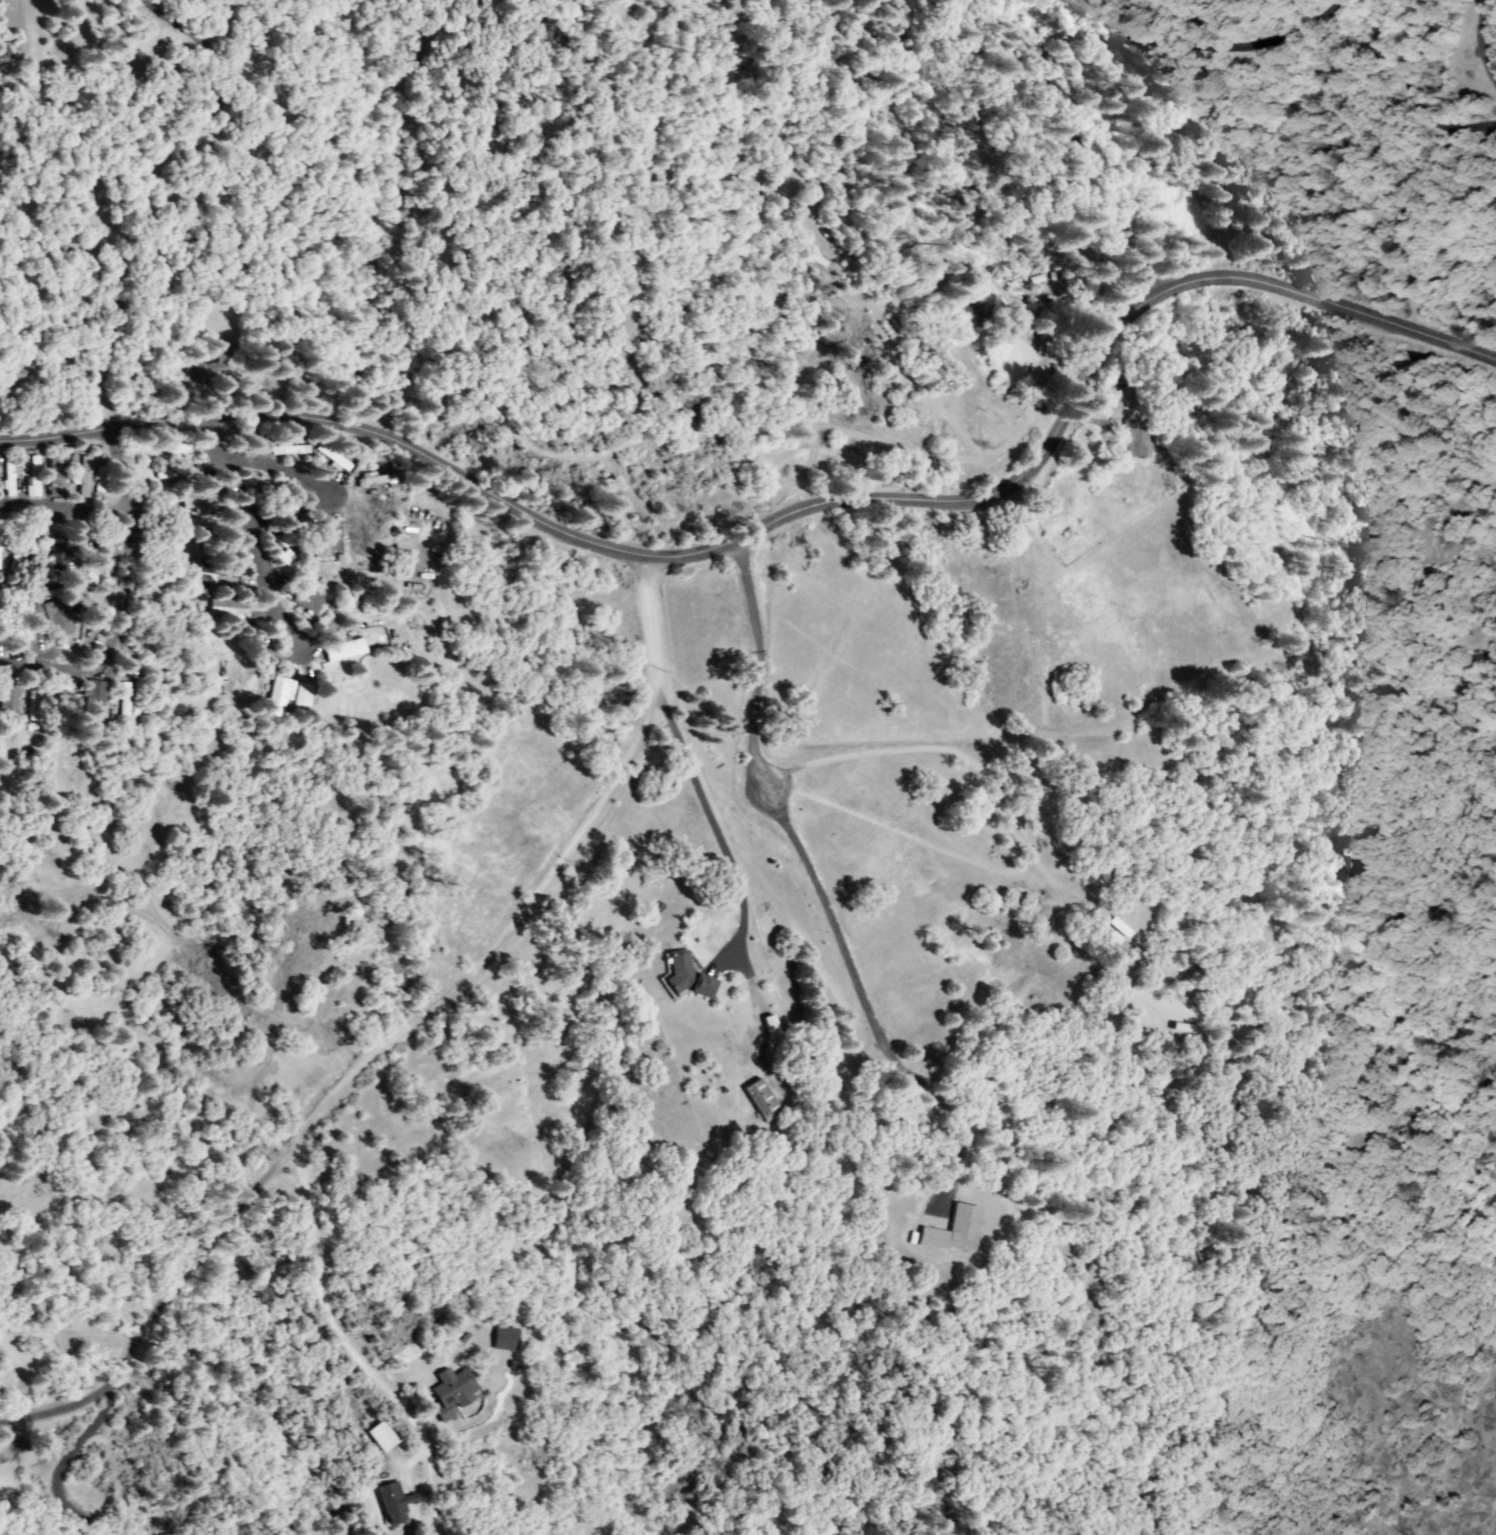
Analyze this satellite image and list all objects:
road: (1069, 49)
road: (1415, 93)
building: (976, 307)
building: (1028, 318)
building: (219, 367)
building: (1134, 439)
building: (244, 440)
building: (173, 449)
building: (293, 449)
building: (334, 458)
building: (394, 466)
building: (11, 471)
building: (180, 474)
building: (60, 477)
building: (36, 478)
building: (84, 478)
building: (380, 480)
building: (99, 481)
building: (281, 491)
building: (204, 499)
building: (281, 507)
road: (786, 515)
building: (212, 526)
building: (358, 535)
building: (323, 540)
building: (1, 546)
building: (17, 551)
building: (59, 554)
building: (33, 557)
building: (111, 560)
building: (288, 561)
building: (89, 574)
building: (218, 577)
building: (142, 598)
building: (308, 600)
building: (80, 603)
building: (229, 610)
building: (15, 619)
building: (59, 619)
building: (35, 623)
building: (0, 642)
building: (346, 650)
building: (9, 695)
building: (278, 698)
building: (303, 698)
building: (64, 701)
building: (38, 703)
building: (125, 705)
building: (1117, 931)
building: (686, 977)
building: (771, 1027)
building: (1182, 1028)
road: (394, 1036)
building: (763, 1101)
building: (957, 1231)
building: (505, 1340)
building: (453, 1392)
building: (384, 1437)
building: (396, 1503)

